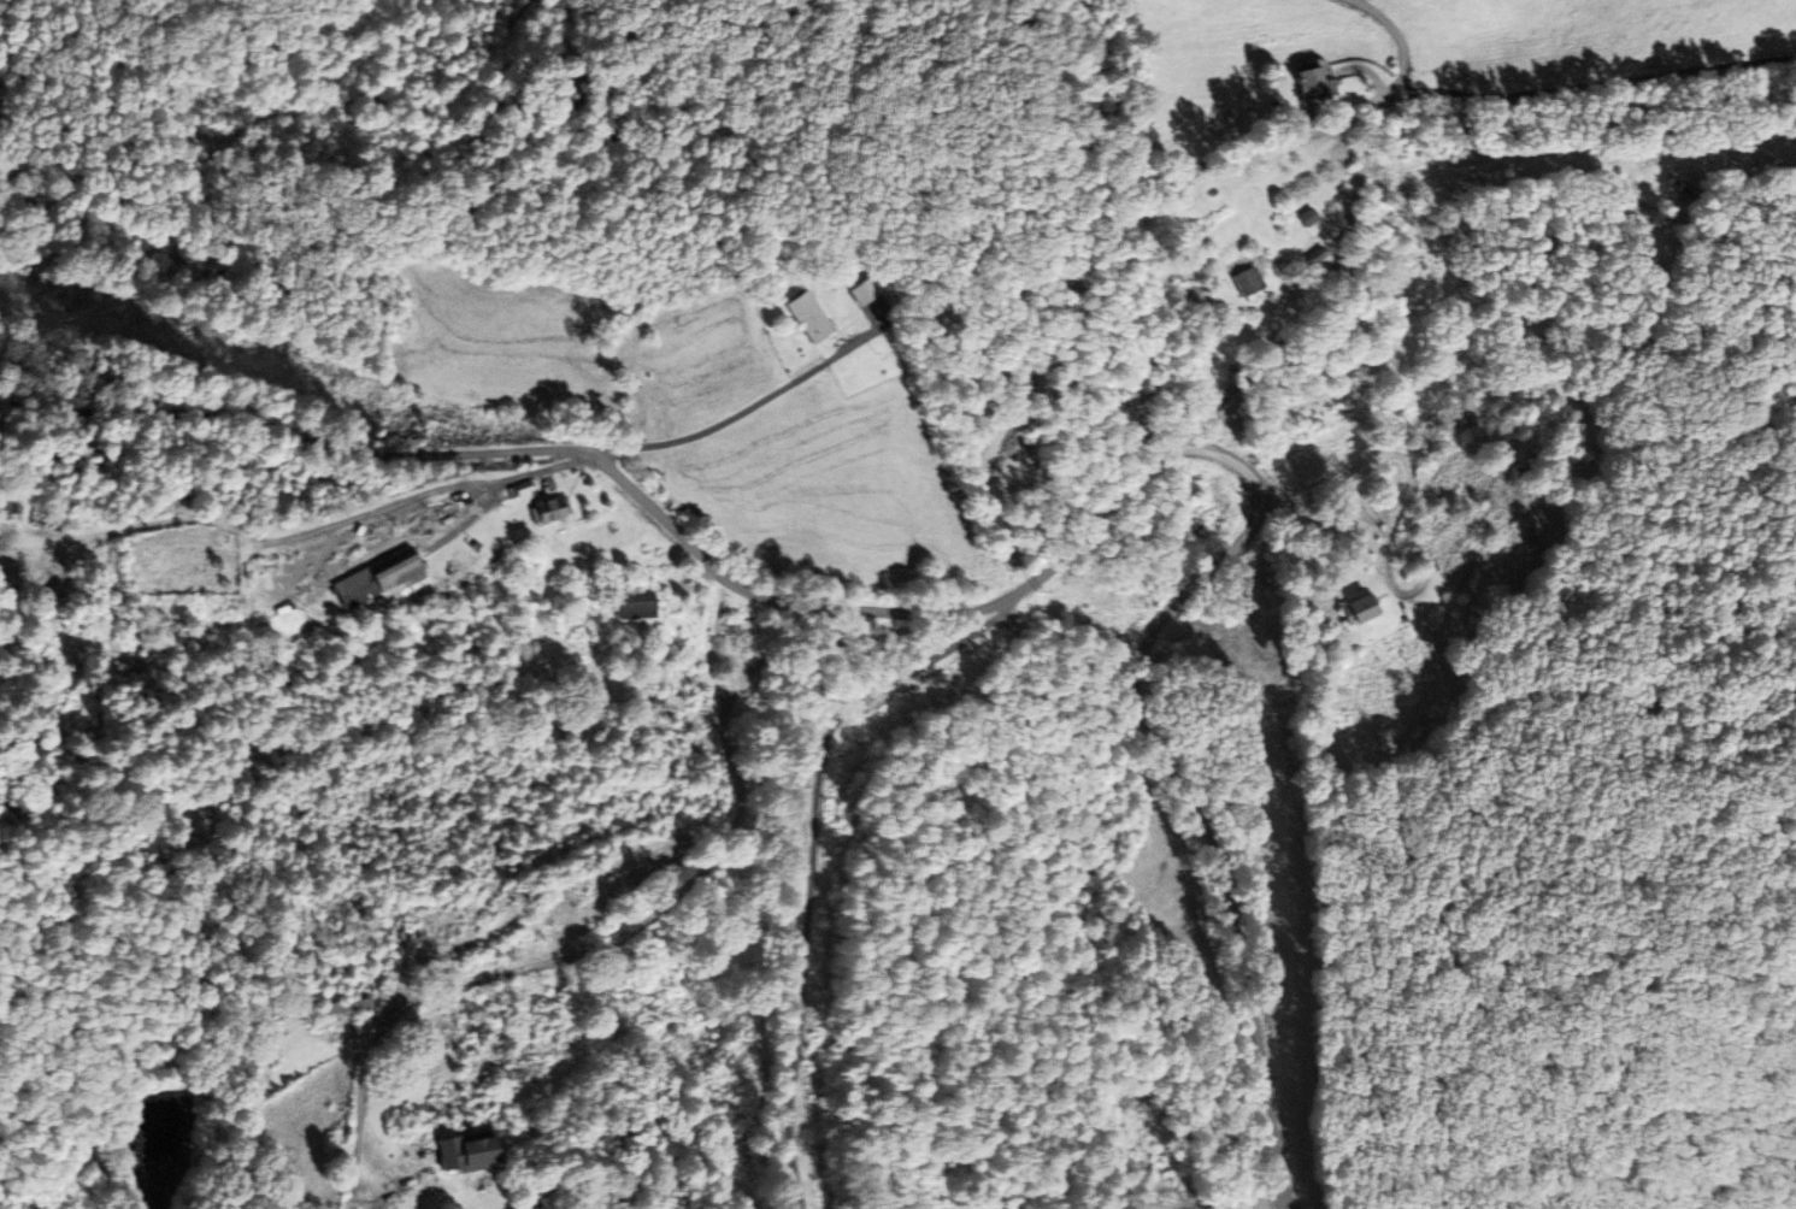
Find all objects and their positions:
building: (1324, 84)
road: (1601, 94)
building: (1665, 189)
building: (1625, 214)
building: (1315, 217)
road: (1350, 222)
building: (1254, 282)
building: (812, 318)
building: (1437, 424)
road: (643, 502)
building: (554, 511)
building: (382, 577)
building: (642, 604)
building: (1366, 609)
building: (676, 703)
road: (1179, 792)
building: (410, 944)
building: (352, 1007)
building: (478, 1152)

